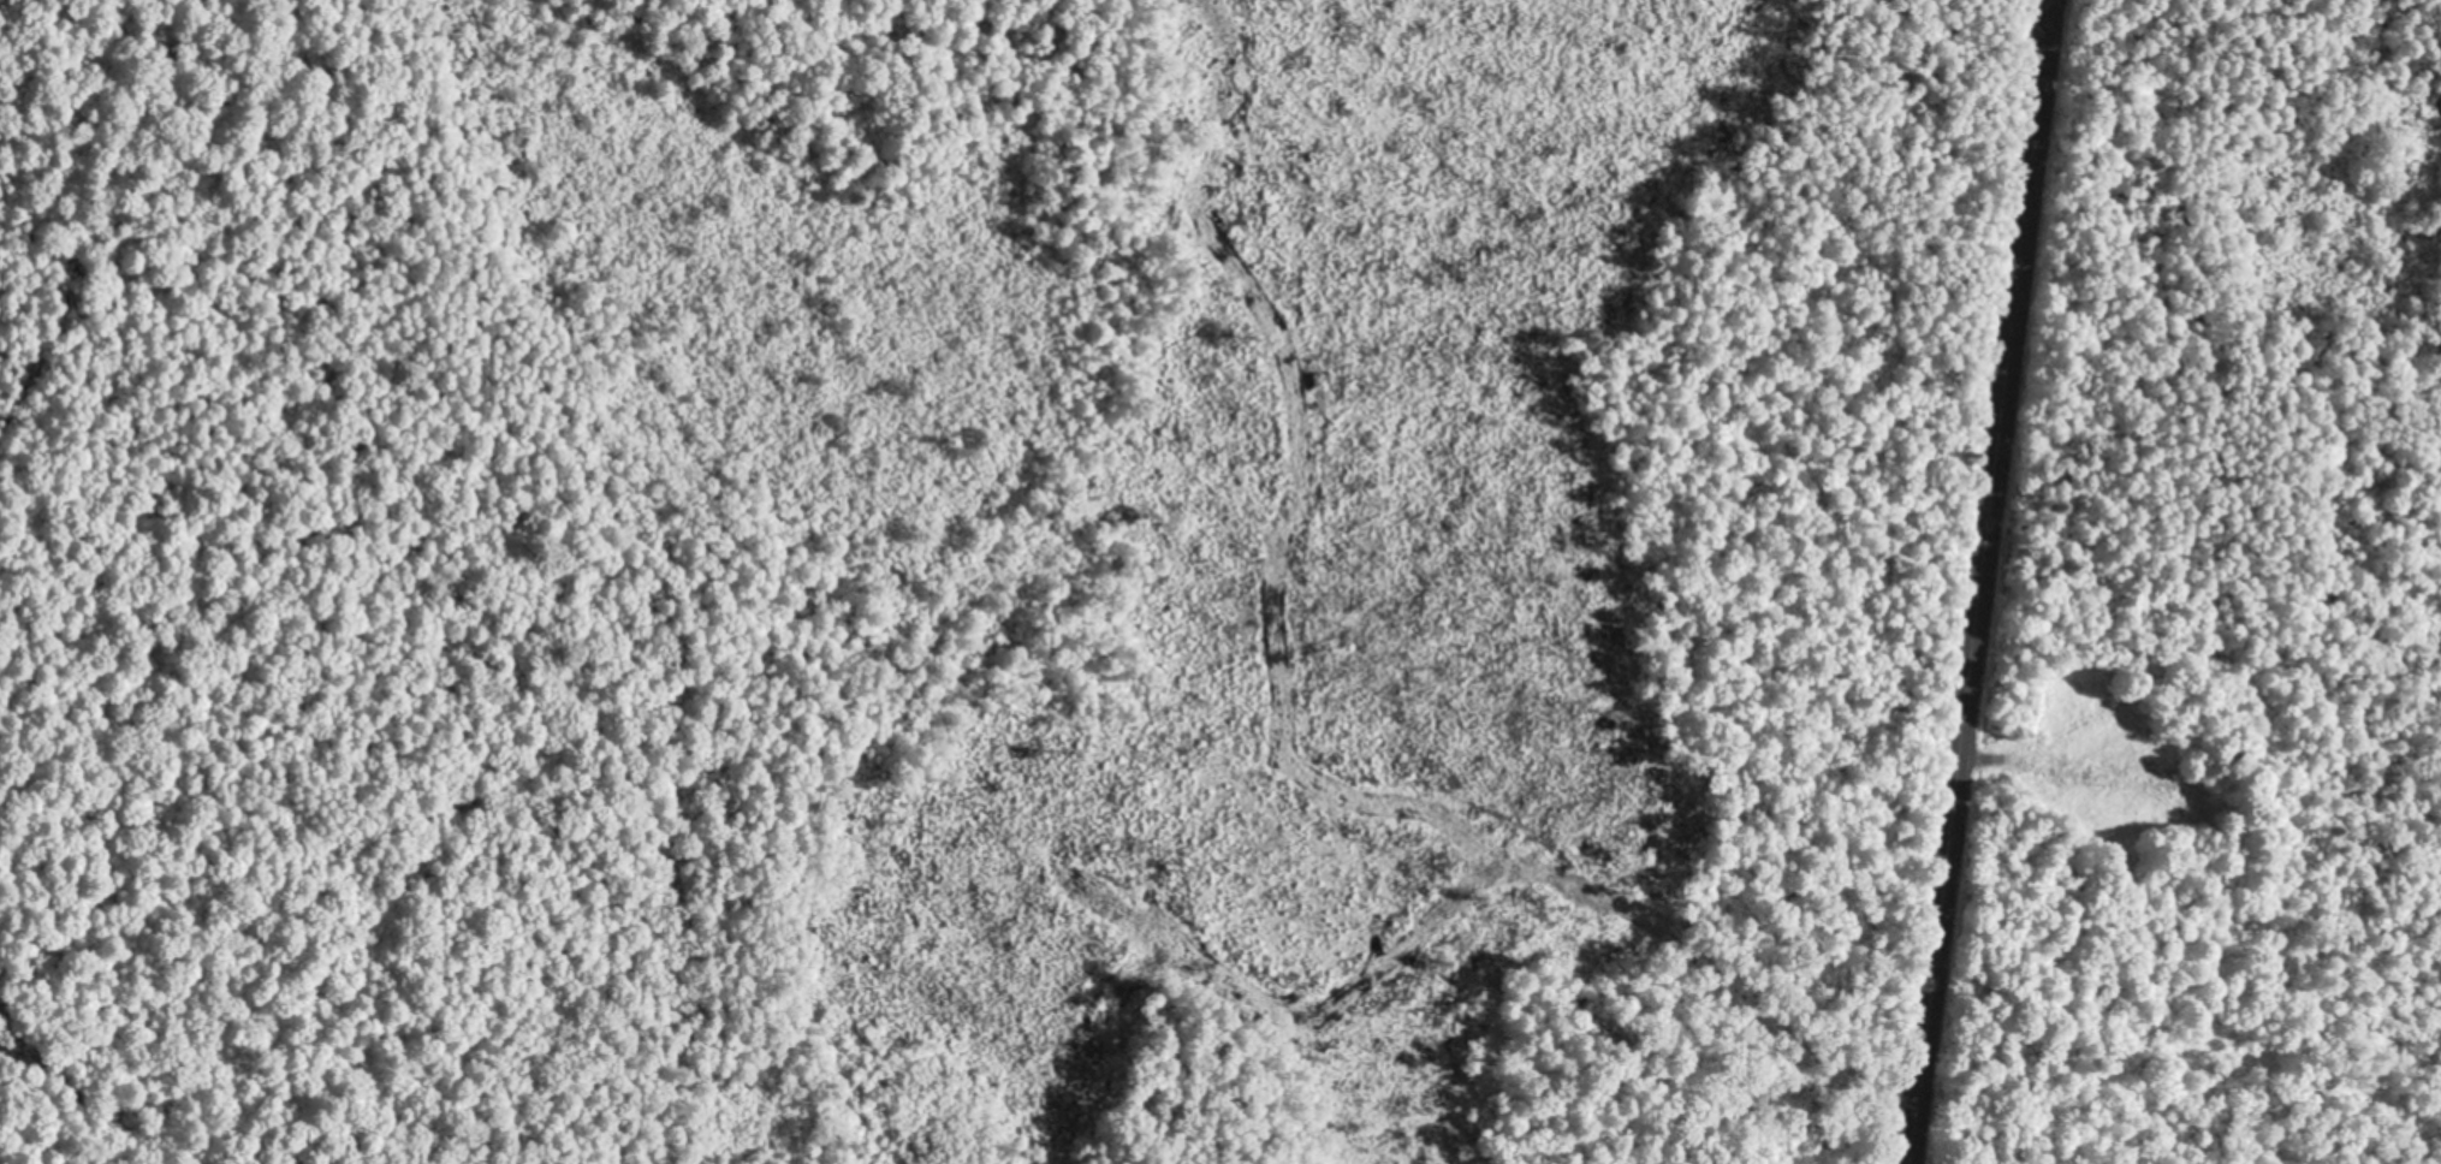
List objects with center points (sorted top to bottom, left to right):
road: (1976, 581)

